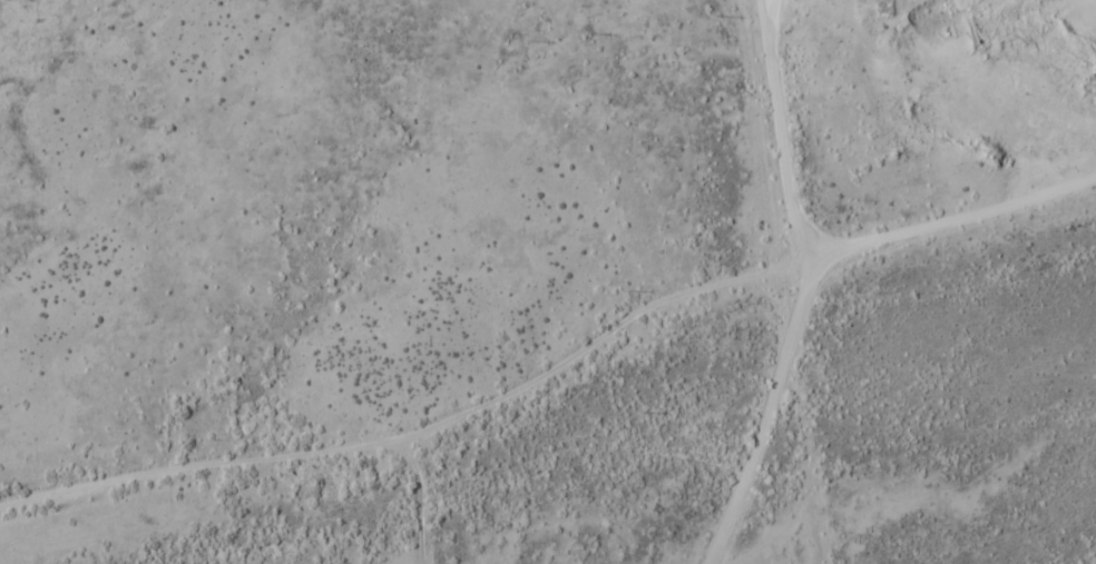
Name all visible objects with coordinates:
road: (782, 126)
road: (558, 368)
road: (774, 402)
road: (420, 495)

